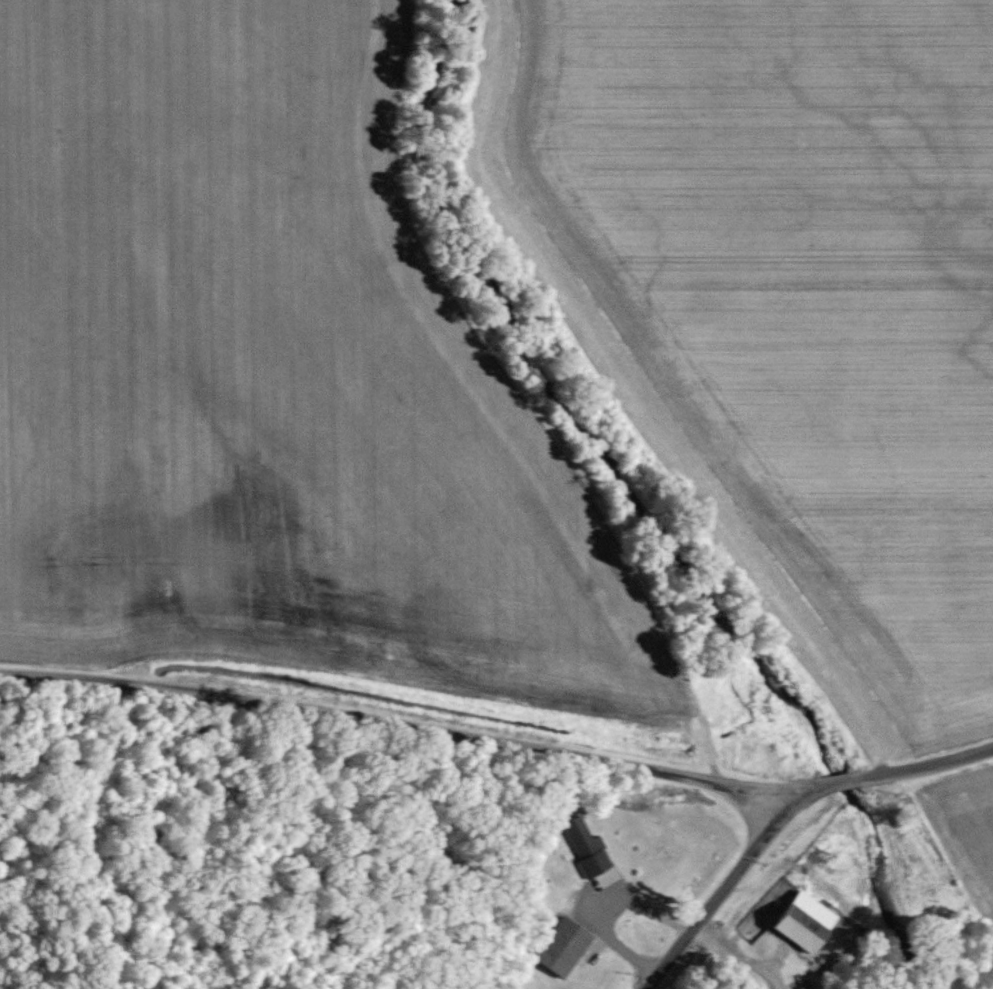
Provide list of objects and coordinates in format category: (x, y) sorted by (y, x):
road: (389, 693)
road: (881, 766)
road: (719, 894)
road: (673, 902)

